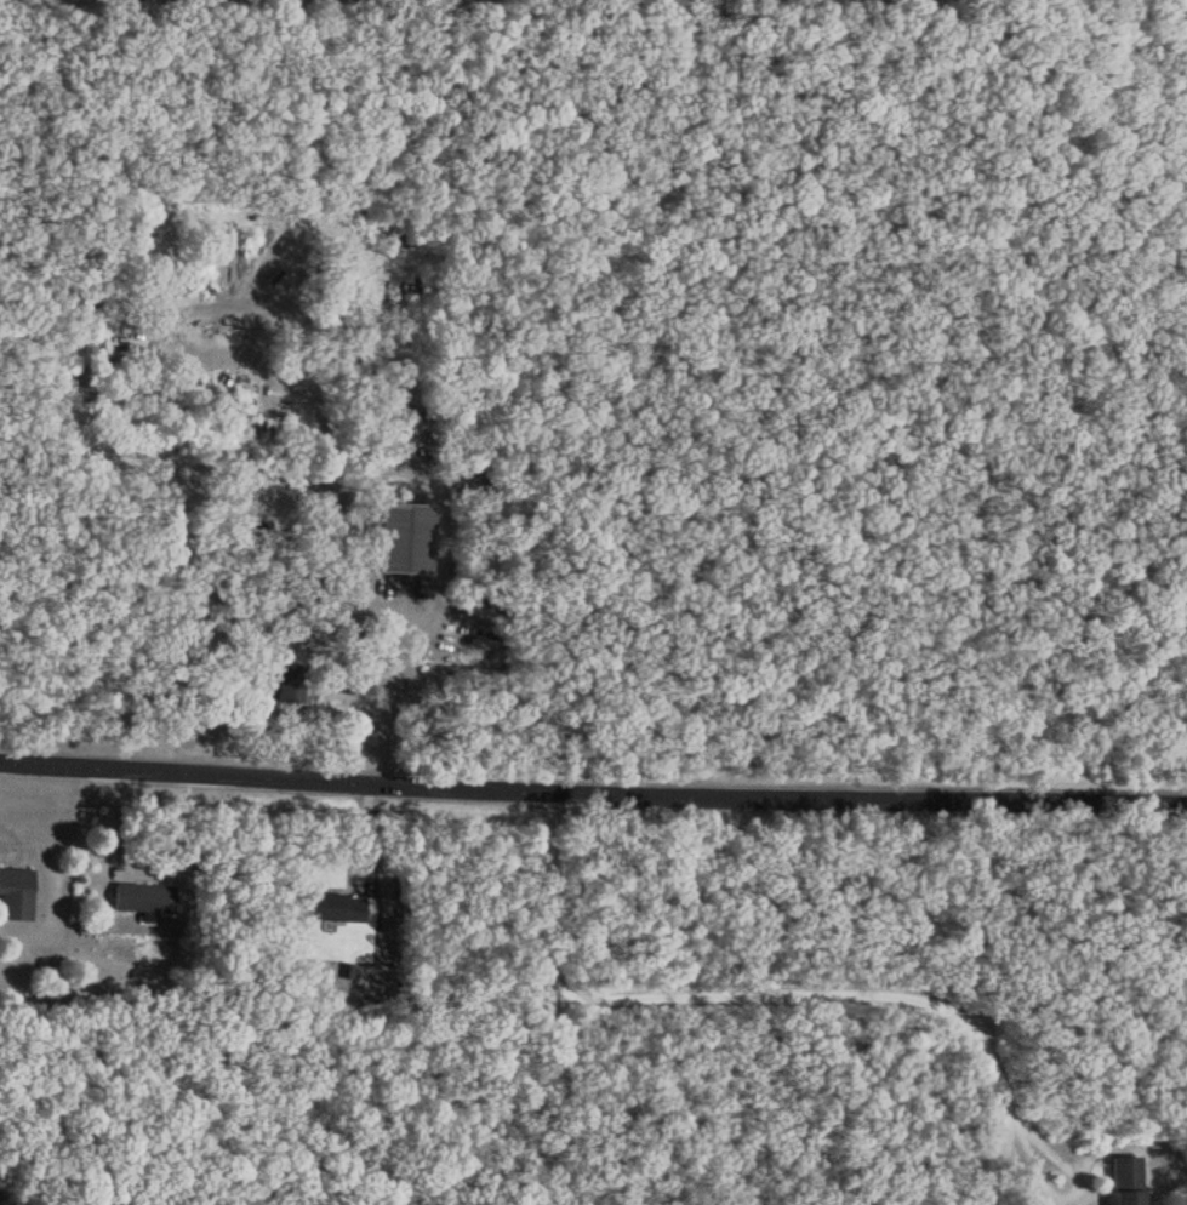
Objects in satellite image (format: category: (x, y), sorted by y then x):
building: (403, 536)
building: (280, 680)
road: (593, 781)
building: (15, 893)
building: (142, 897)
building: (333, 907)
road: (748, 994)
road: (992, 1167)
building: (1123, 1180)

